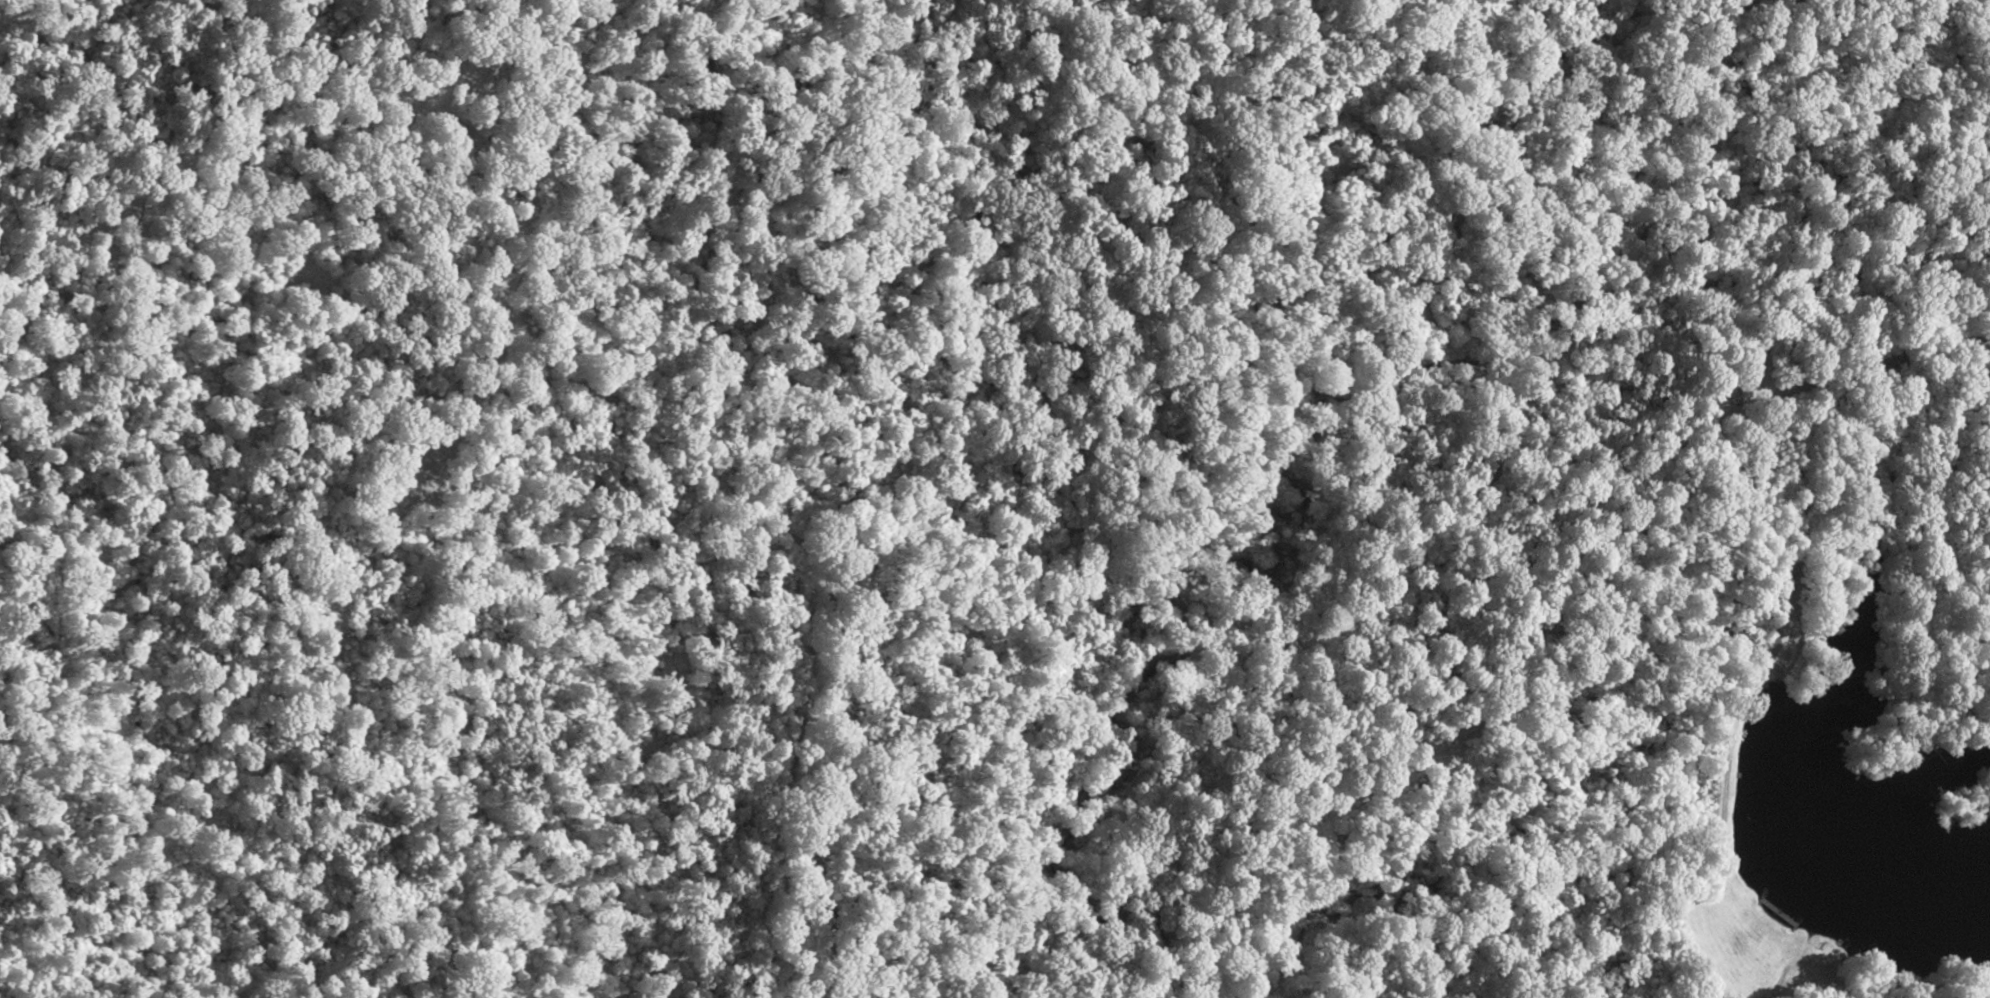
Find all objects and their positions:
building: (1739, 382)

